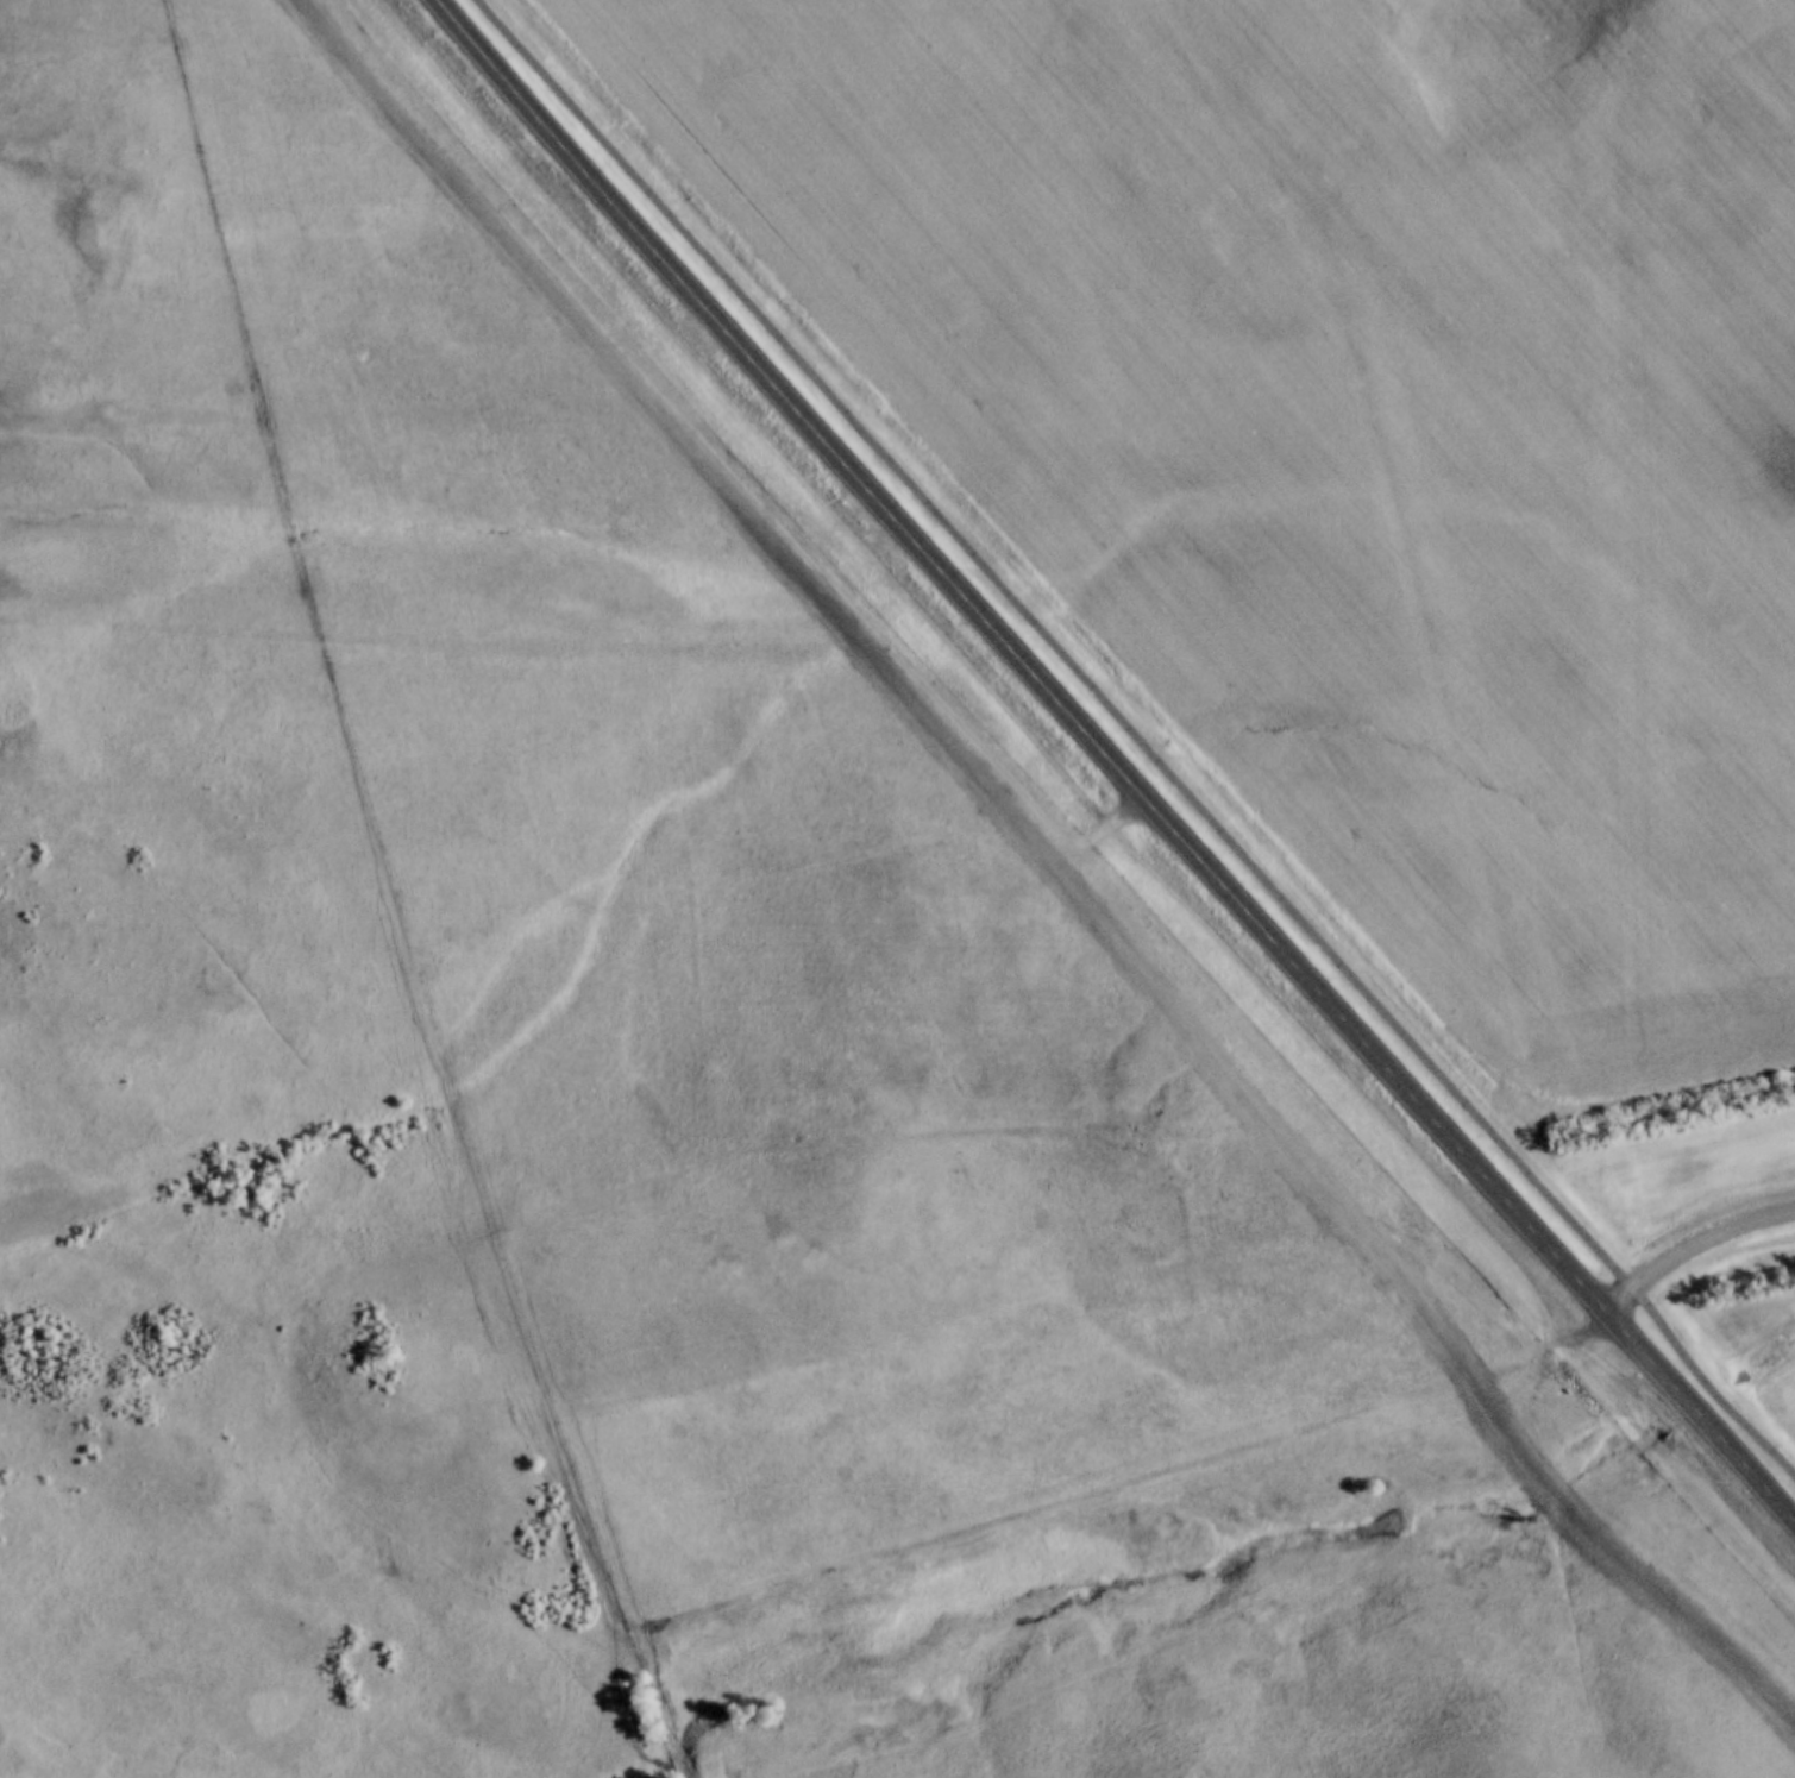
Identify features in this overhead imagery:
road: (1138, 737)
road: (1112, 764)
road: (1694, 1262)

